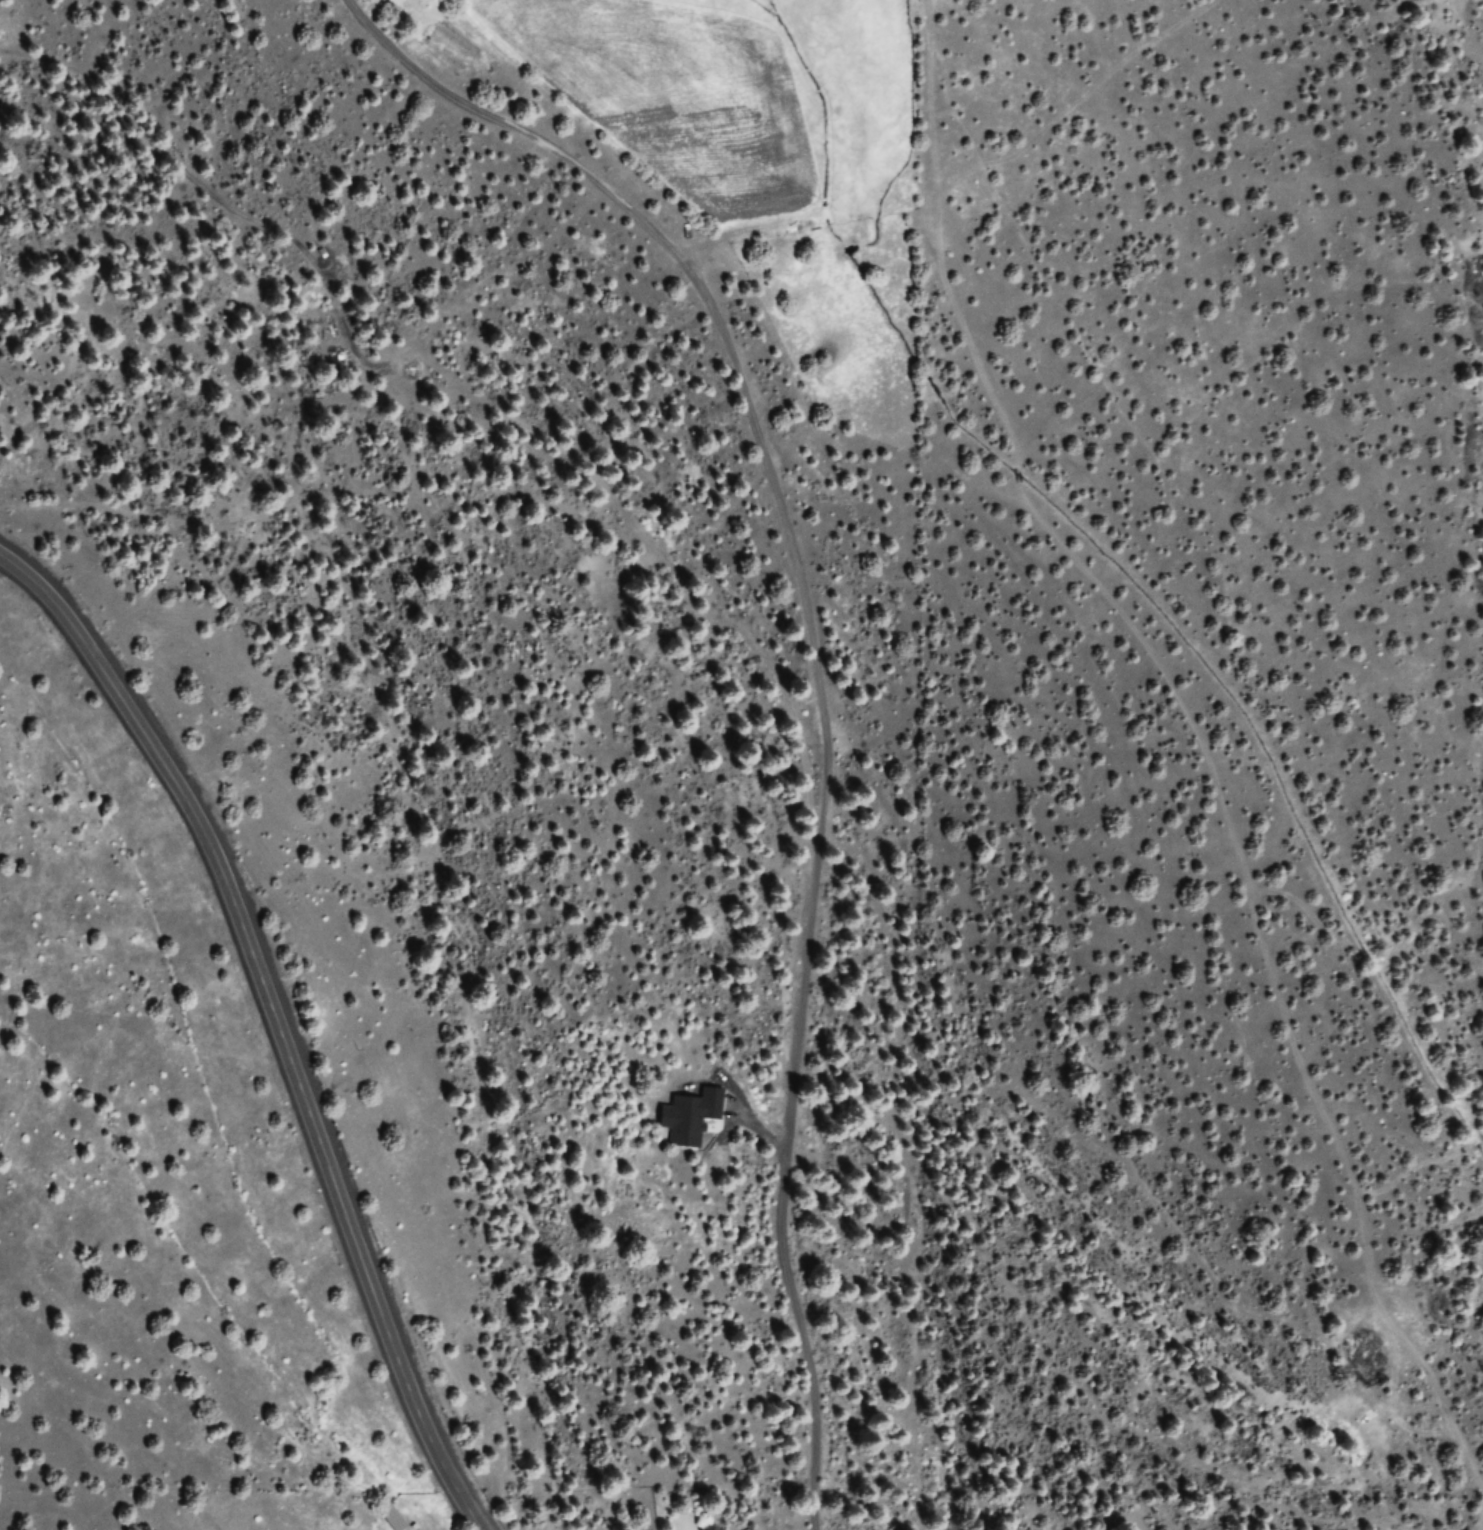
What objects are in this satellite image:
road: (277, 1021)
building: (687, 1116)

